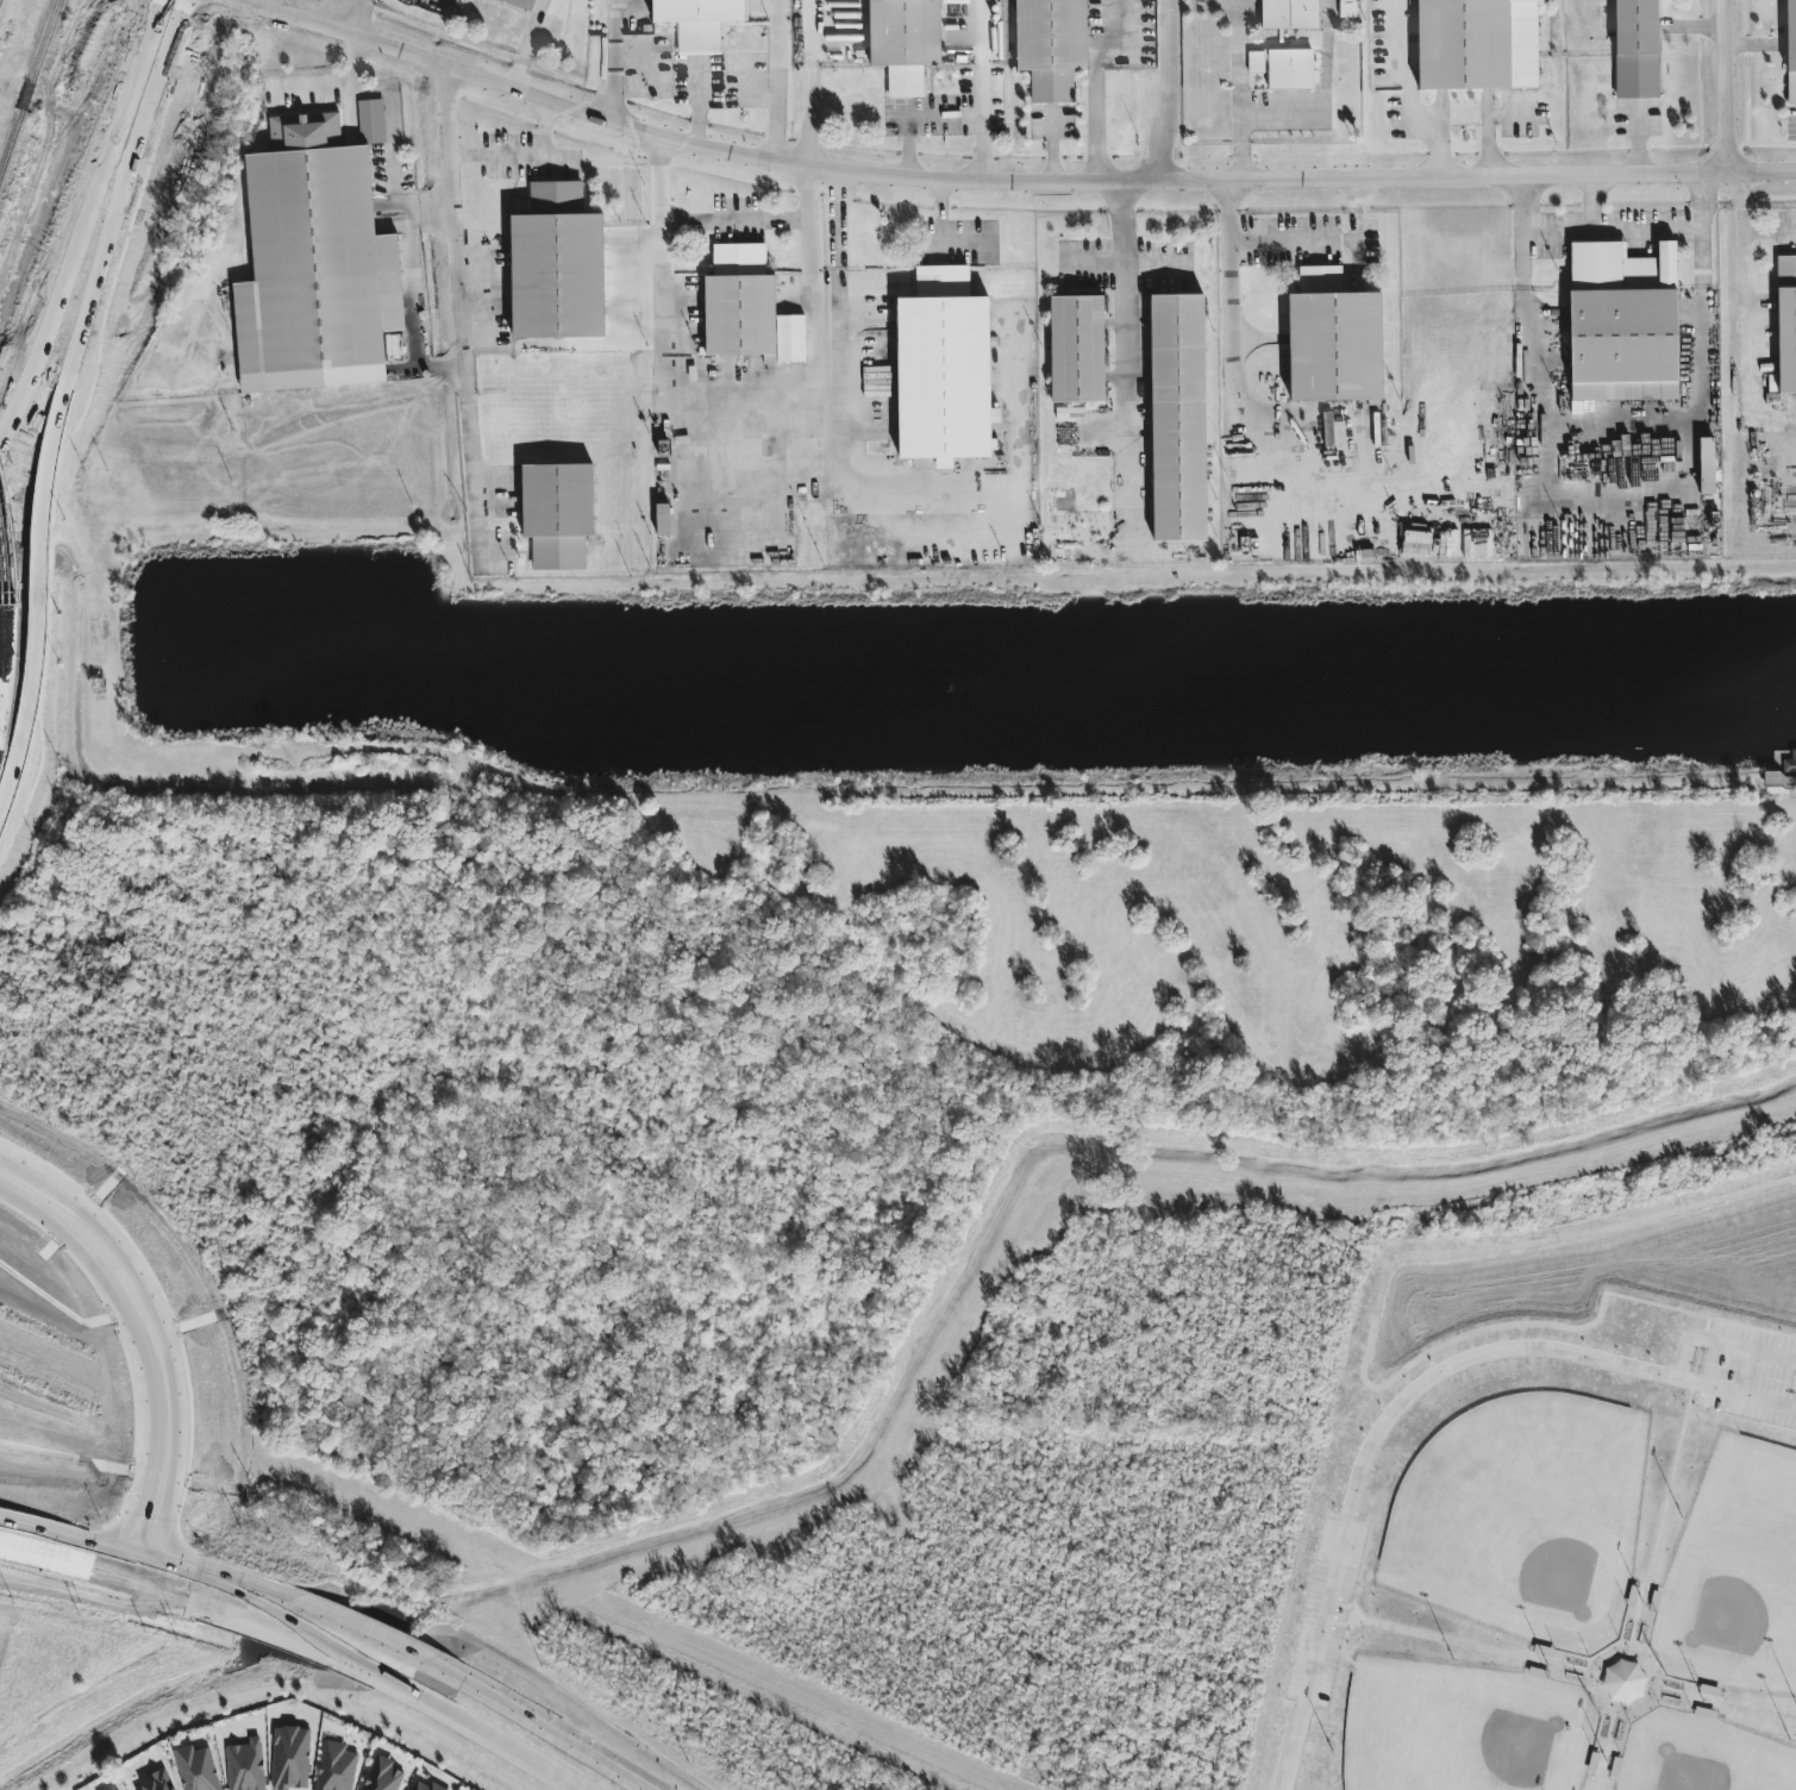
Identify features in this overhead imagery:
building: (519, 4)
building: (1347, 8)
building: (1289, 14)
road: (348, 18)
building: (697, 21)
road: (777, 29)
road: (980, 31)
building: (905, 42)
building: (1476, 44)
road: (526, 46)
building: (1051, 46)
building: (1635, 49)
building: (1790, 51)
road: (612, 62)
building: (1256, 63)
building: (1289, 70)
road: (695, 74)
road: (812, 83)
road: (1095, 83)
railway: (29, 85)
road: (1717, 86)
road: (1239, 90)
road: (1166, 92)
road: (776, 109)
road: (699, 111)
road: (913, 115)
road: (1279, 115)
building: (371, 121)
road: (601, 123)
road: (982, 123)
road: (395, 136)
road: (445, 144)
road: (1052, 146)
road: (515, 157)
road: (1389, 179)
road: (738, 219)
road: (86, 221)
road: (1320, 242)
building: (314, 264)
building: (557, 267)
road: (846, 303)
building: (747, 309)
road: (638, 313)
road: (1744, 314)
building: (1622, 323)
building: (1786, 324)
building: (1333, 340)
building: (1077, 350)
road: (1233, 350)
road: (1122, 367)
building: (943, 369)
road: (473, 389)
road: (62, 402)
road: (811, 412)
building: (1177, 419)
road: (1625, 425)
building: (1706, 467)
road: (1620, 488)
building: (557, 514)
building: (663, 520)
road: (11, 615)
building: (27, 705)
building: (1782, 777)
river: (1621, 1129)
road: (164, 1337)
road: (1723, 1345)
road: (142, 1353)
road: (1366, 1354)
road: (1402, 1398)
road: (1741, 1417)
road: (1673, 1462)
river: (793, 1502)
park: (1558, 1513)
traffic signals: (129, 1514)
road: (43, 1529)
road: (114, 1551)
road: (39, 1556)
traffic signals: (88, 1569)
road: (181, 1570)
traffic signals: (184, 1571)
road: (142, 1584)
road: (311, 1611)
road: (294, 1635)
building: (1622, 1682)
road: (522, 1719)
park: (1456, 1726)
road: (481, 1732)
building: (290, 1758)
building: (245, 1766)
building: (334, 1767)
building: (196, 1769)
building: (382, 1776)
building: (157, 1782)
building: (424, 1786)
building: (112, 1788)

